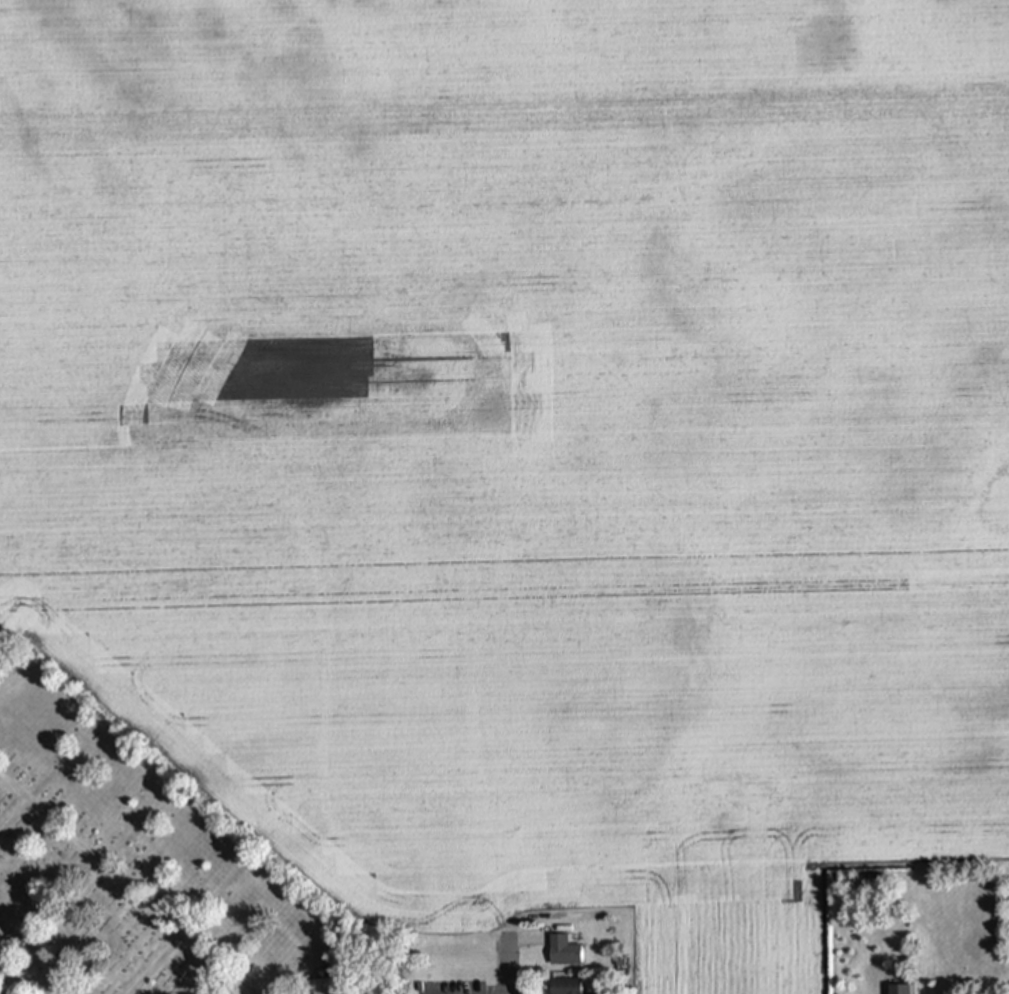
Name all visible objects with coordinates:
park: (126, 865)
building: (564, 950)
road: (506, 967)
building: (323, 986)
building: (566, 986)

